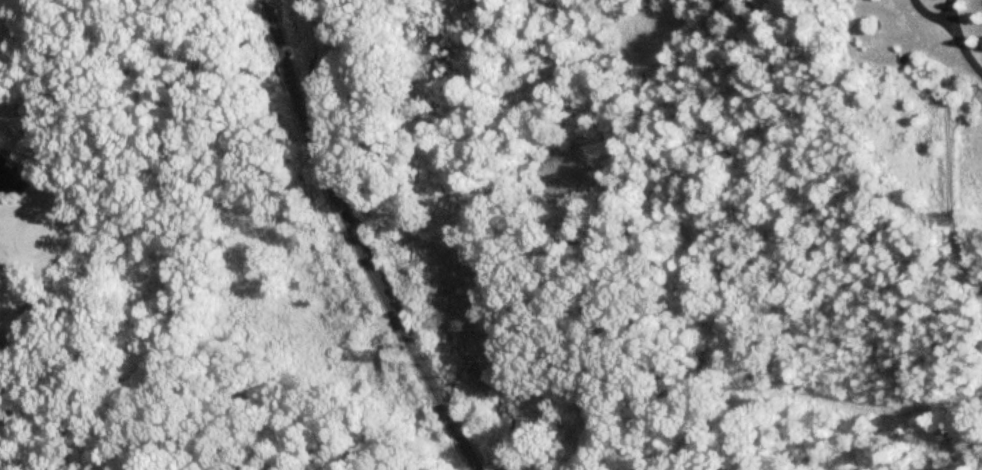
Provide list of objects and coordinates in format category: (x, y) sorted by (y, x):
road: (956, 35)
park: (70, 217)
road: (357, 240)

